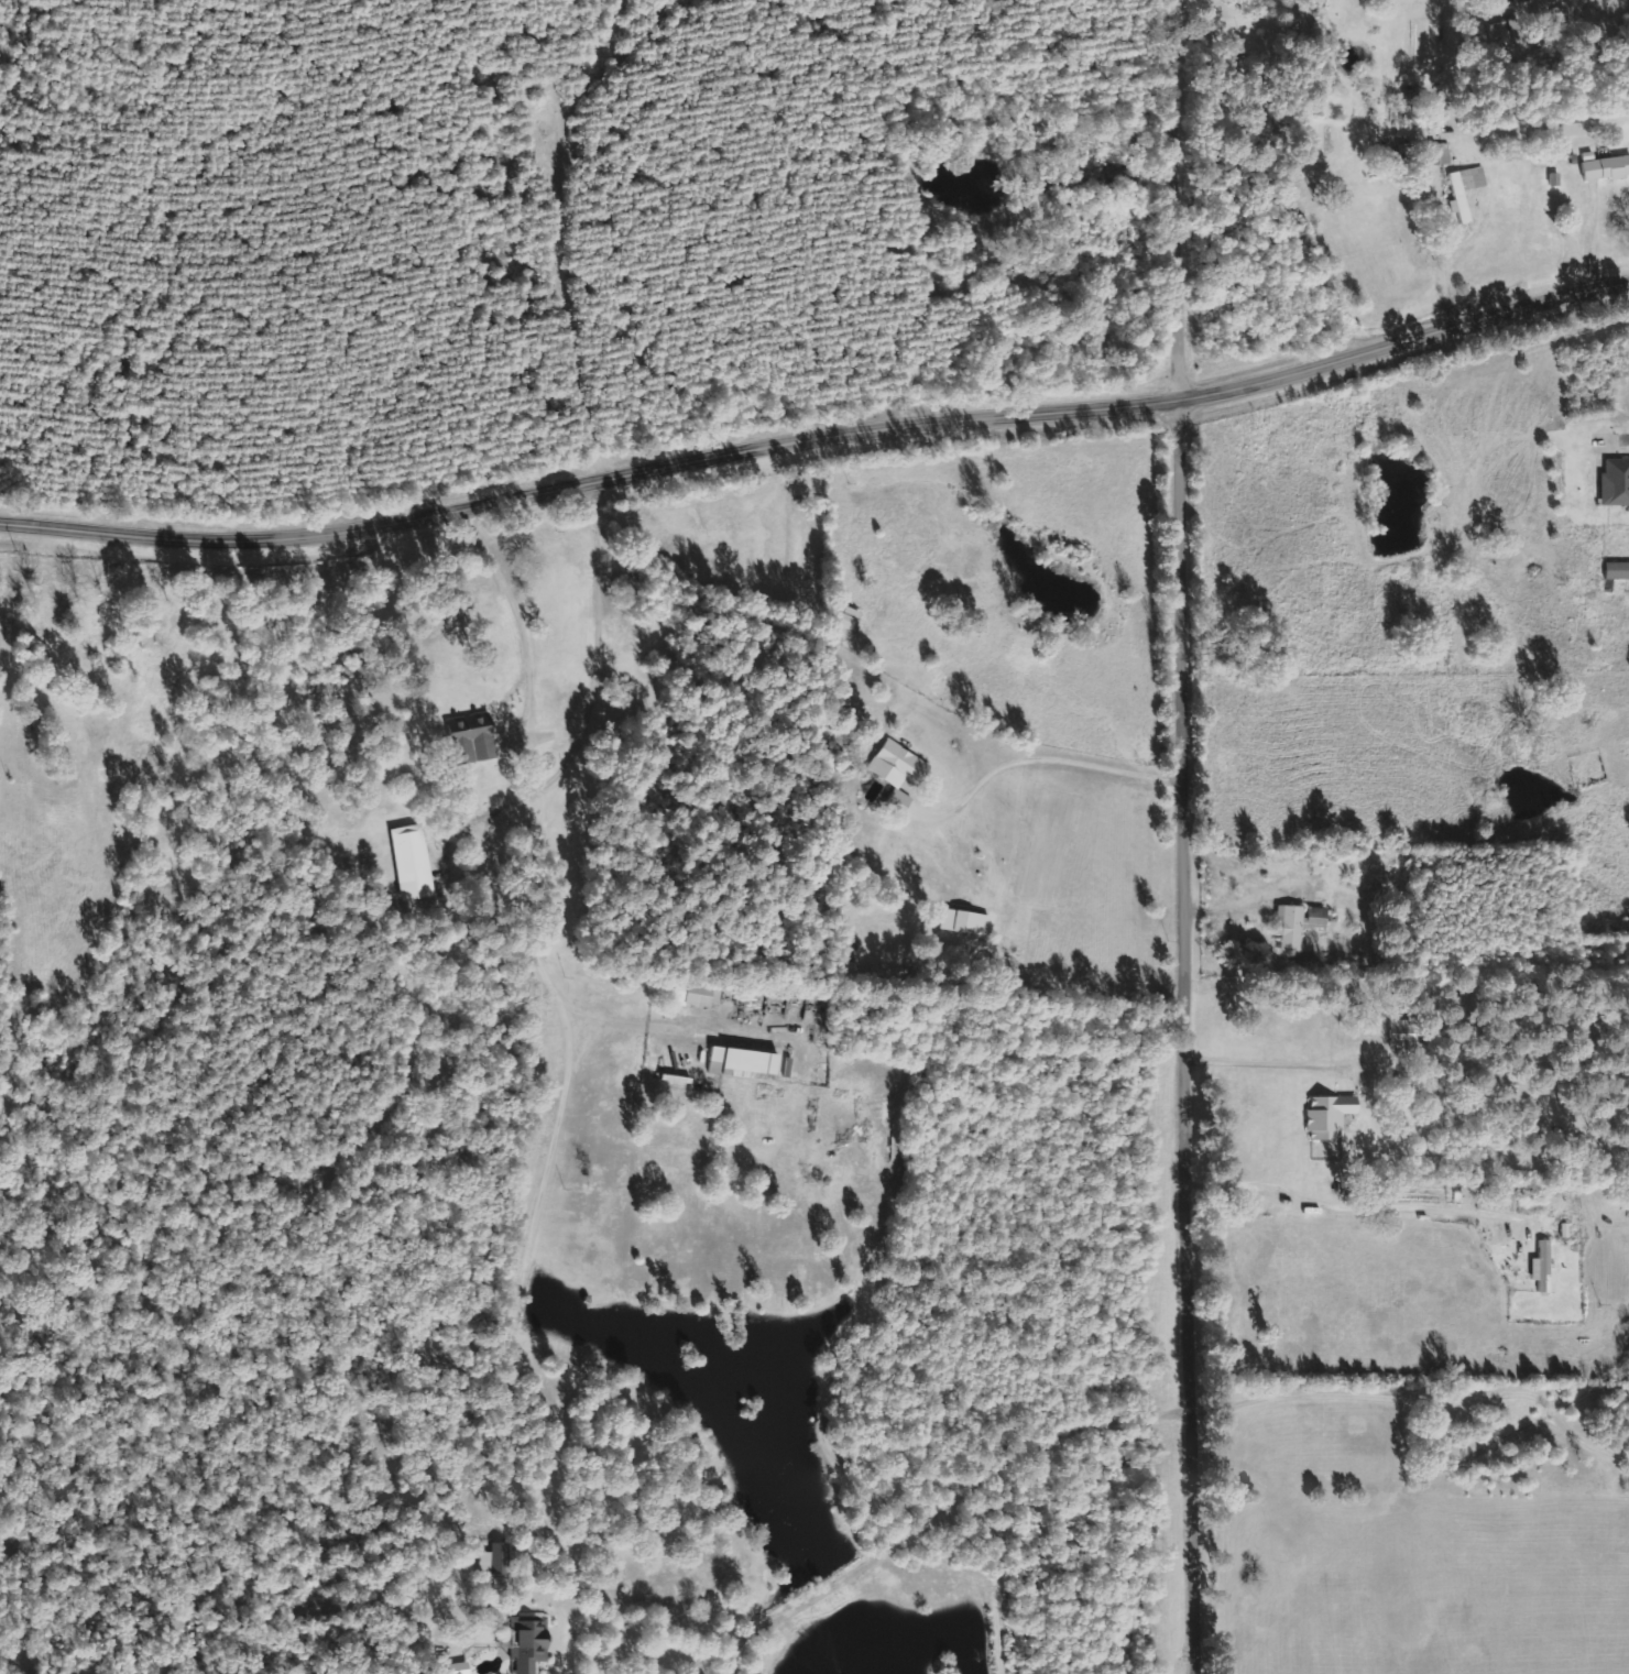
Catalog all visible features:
building: (1437, 153)
building: (1604, 167)
building: (1463, 188)
road: (818, 437)
building: (1614, 481)
building: (1615, 569)
building: (852, 620)
building: (479, 737)
building: (899, 764)
building: (899, 801)
road: (1193, 836)
building: (416, 861)
building: (1312, 916)
building: (961, 920)
building: (1287, 927)
building: (706, 994)
building: (746, 1061)
building: (1326, 1114)
building: (1541, 1266)
building: (503, 1557)
building: (534, 1642)

